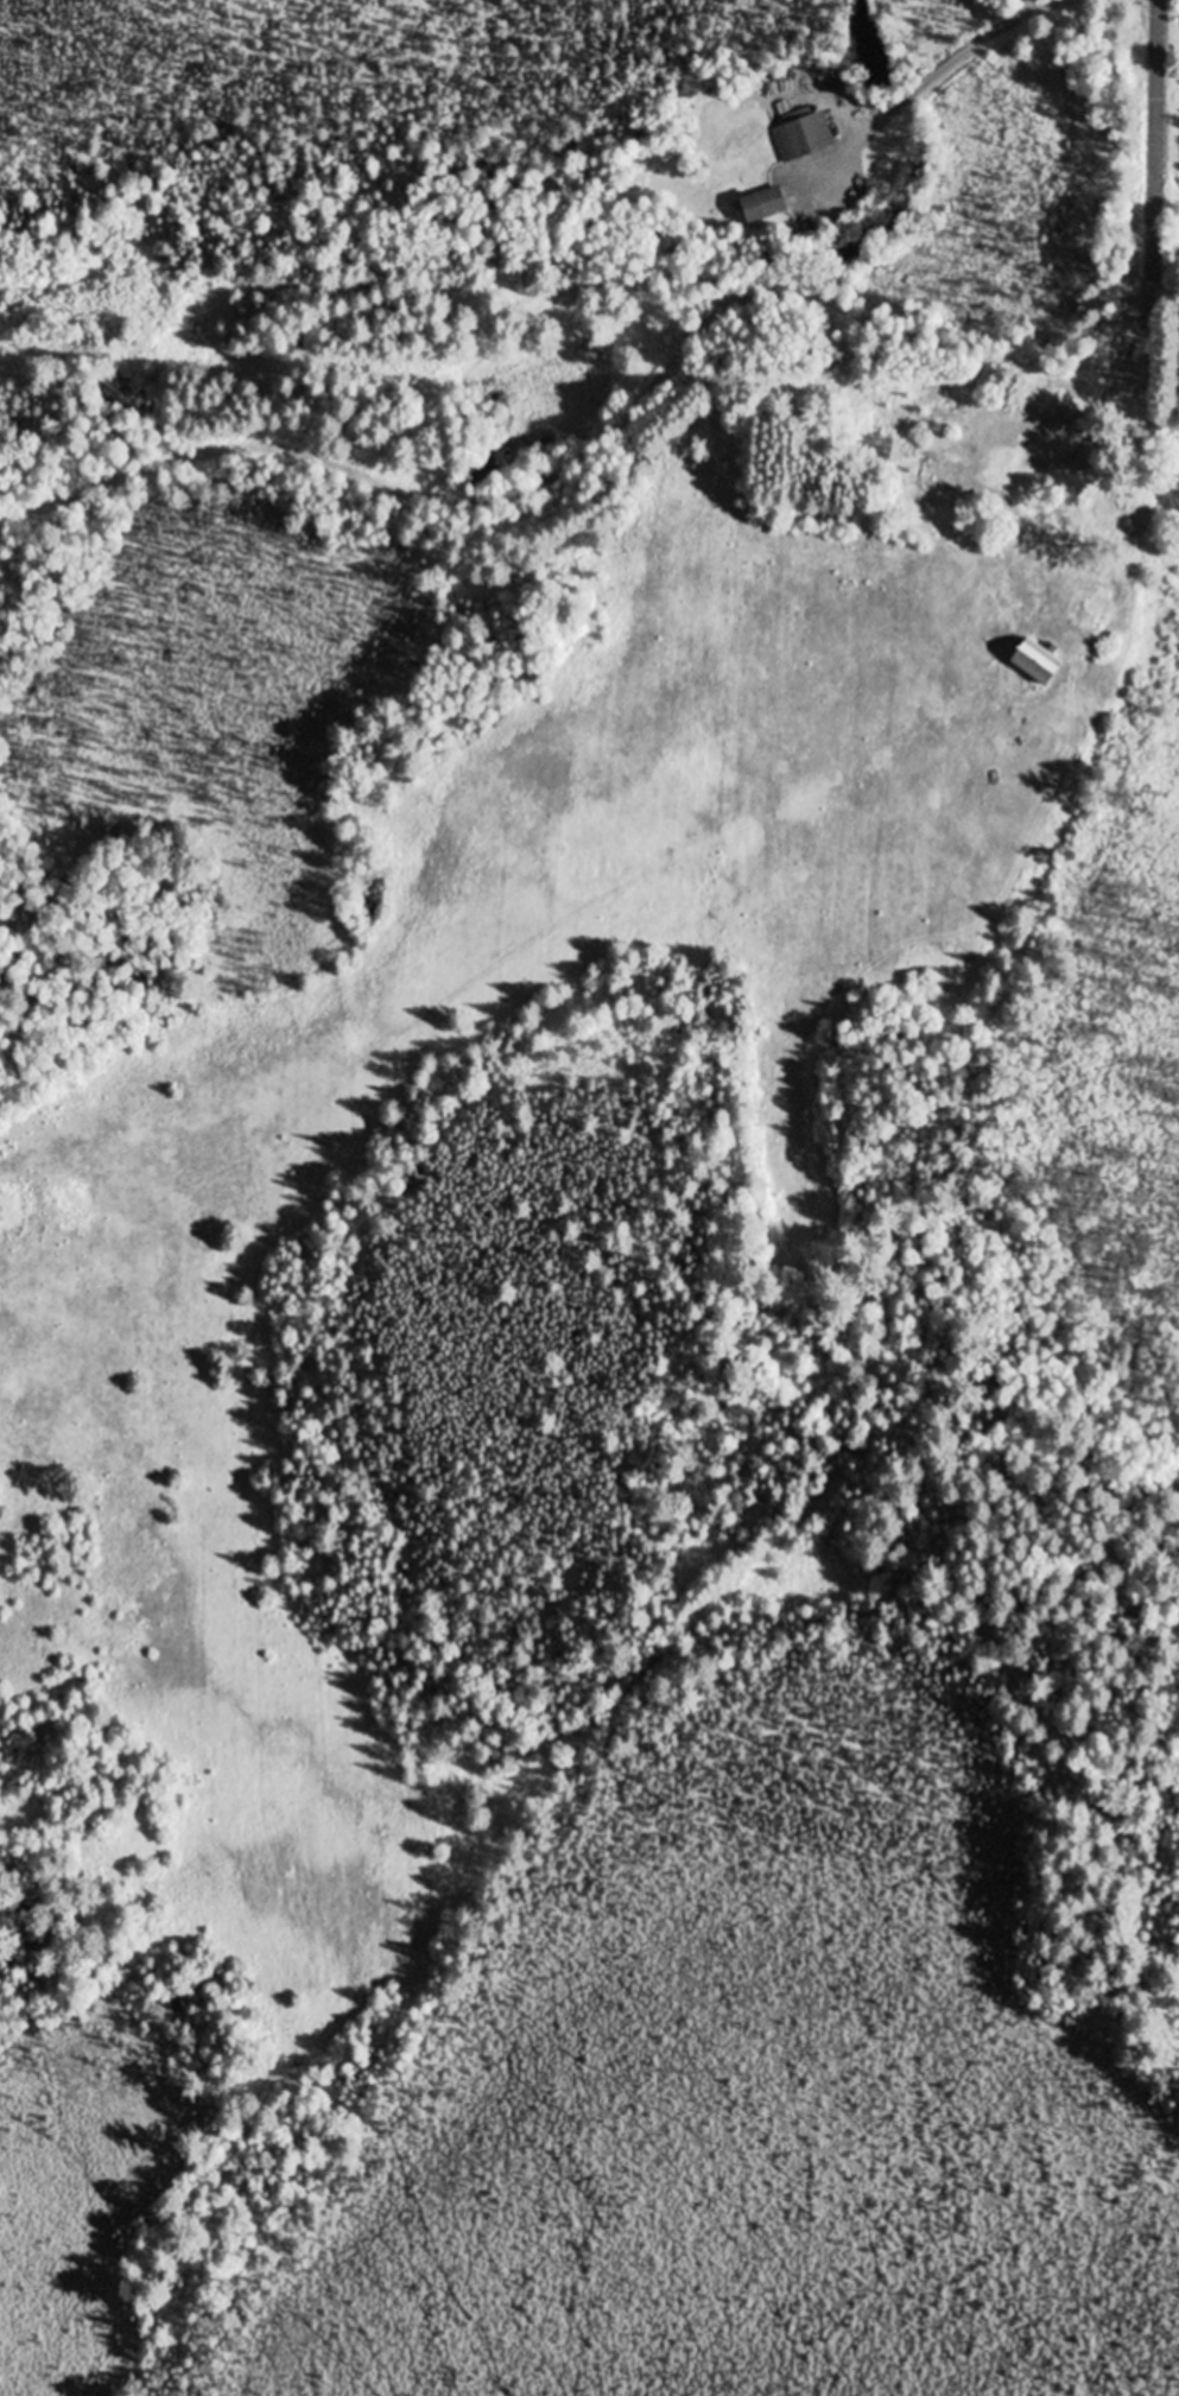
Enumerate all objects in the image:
building: (810, 133)
building: (765, 204)
road: (716, 316)
building: (1107, 332)
building: (1047, 398)
building: (1002, 469)
building: (1146, 499)
building: (1039, 661)

